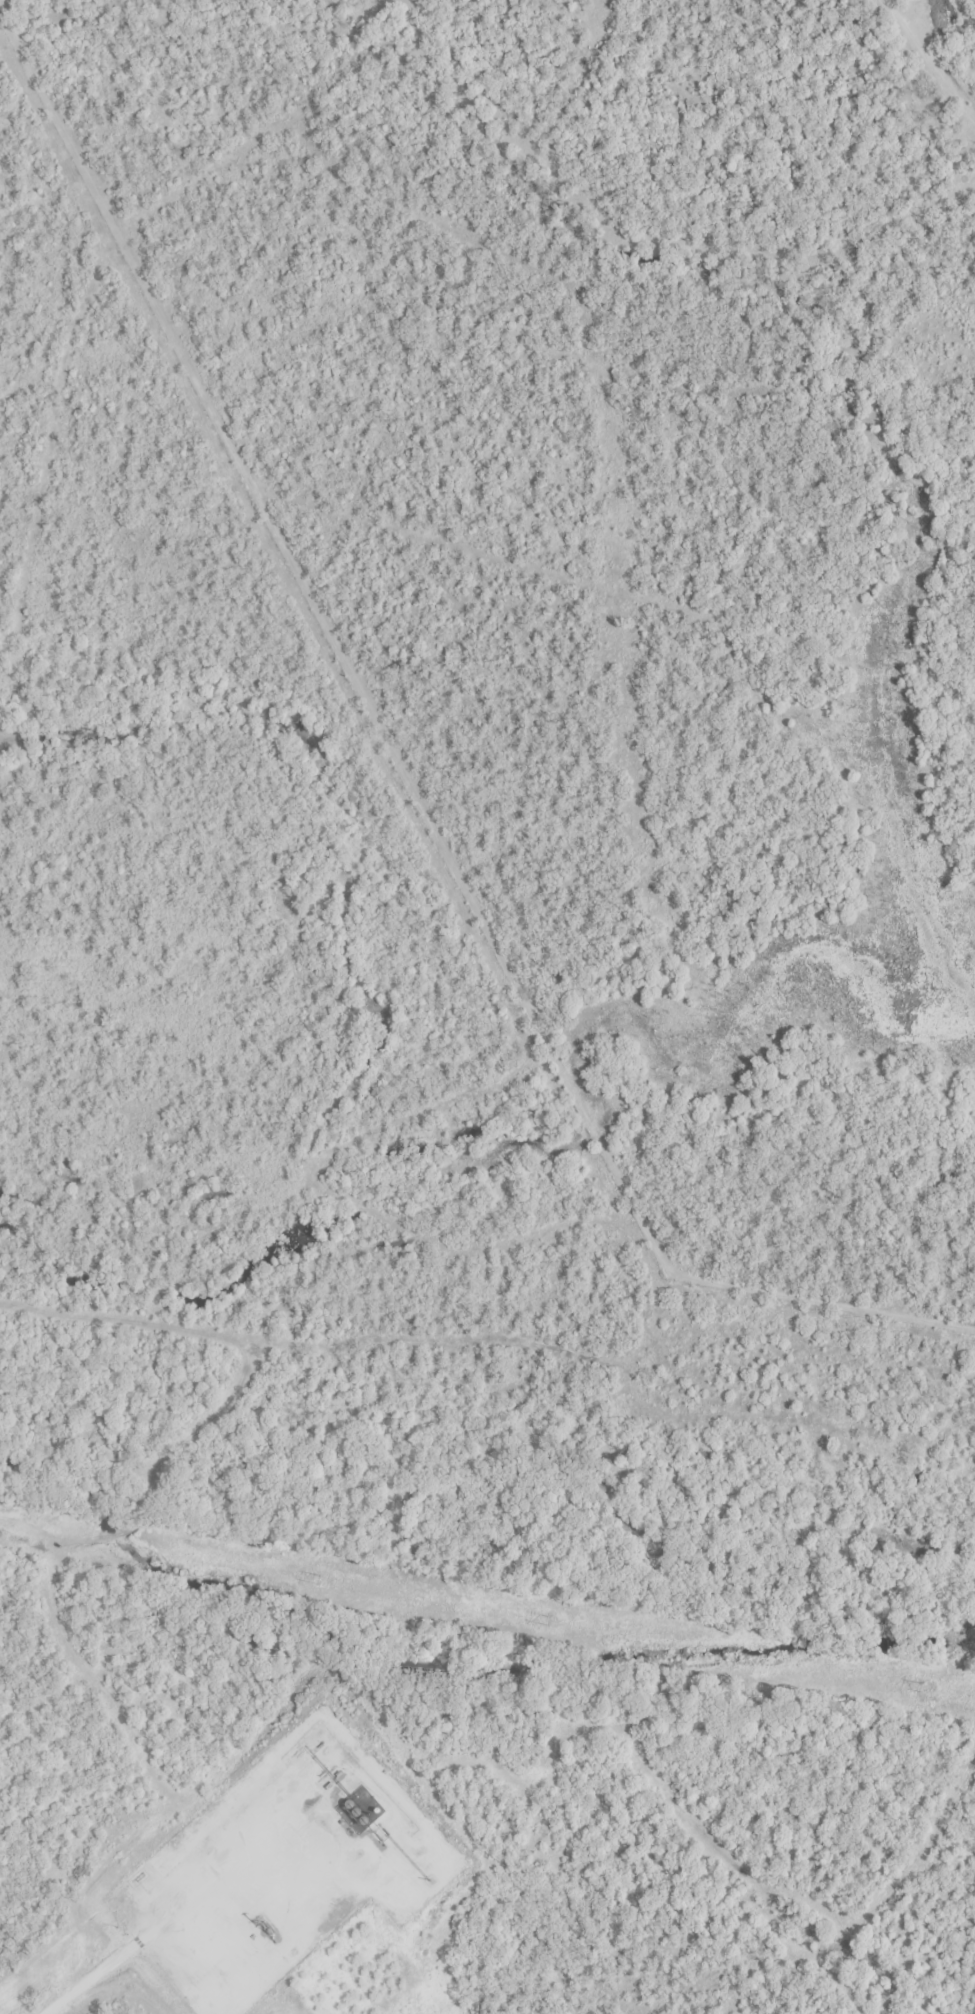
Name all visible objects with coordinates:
power tower: (317, 1582)
power tower: (548, 1622)
power tower: (921, 1689)
road: (215, 1880)

